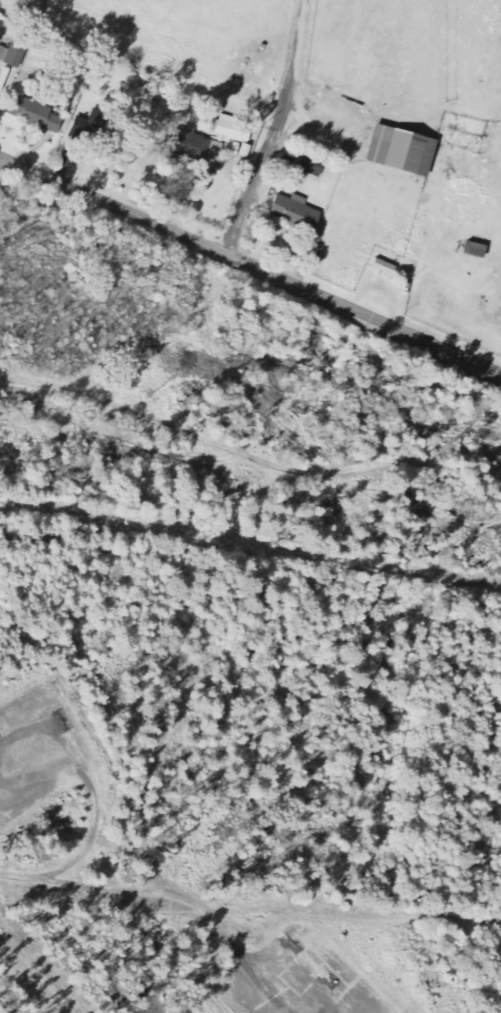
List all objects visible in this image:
building: (13, 55)
building: (37, 114)
road: (274, 129)
building: (235, 130)
building: (193, 143)
building: (404, 151)
building: (312, 165)
building: (296, 212)
building: (477, 250)
road: (251, 263)
road: (246, 457)
road: (46, 729)
road: (85, 772)
road: (40, 775)
road: (89, 834)
road: (321, 890)
road: (137, 892)
road: (268, 955)
road: (206, 974)

